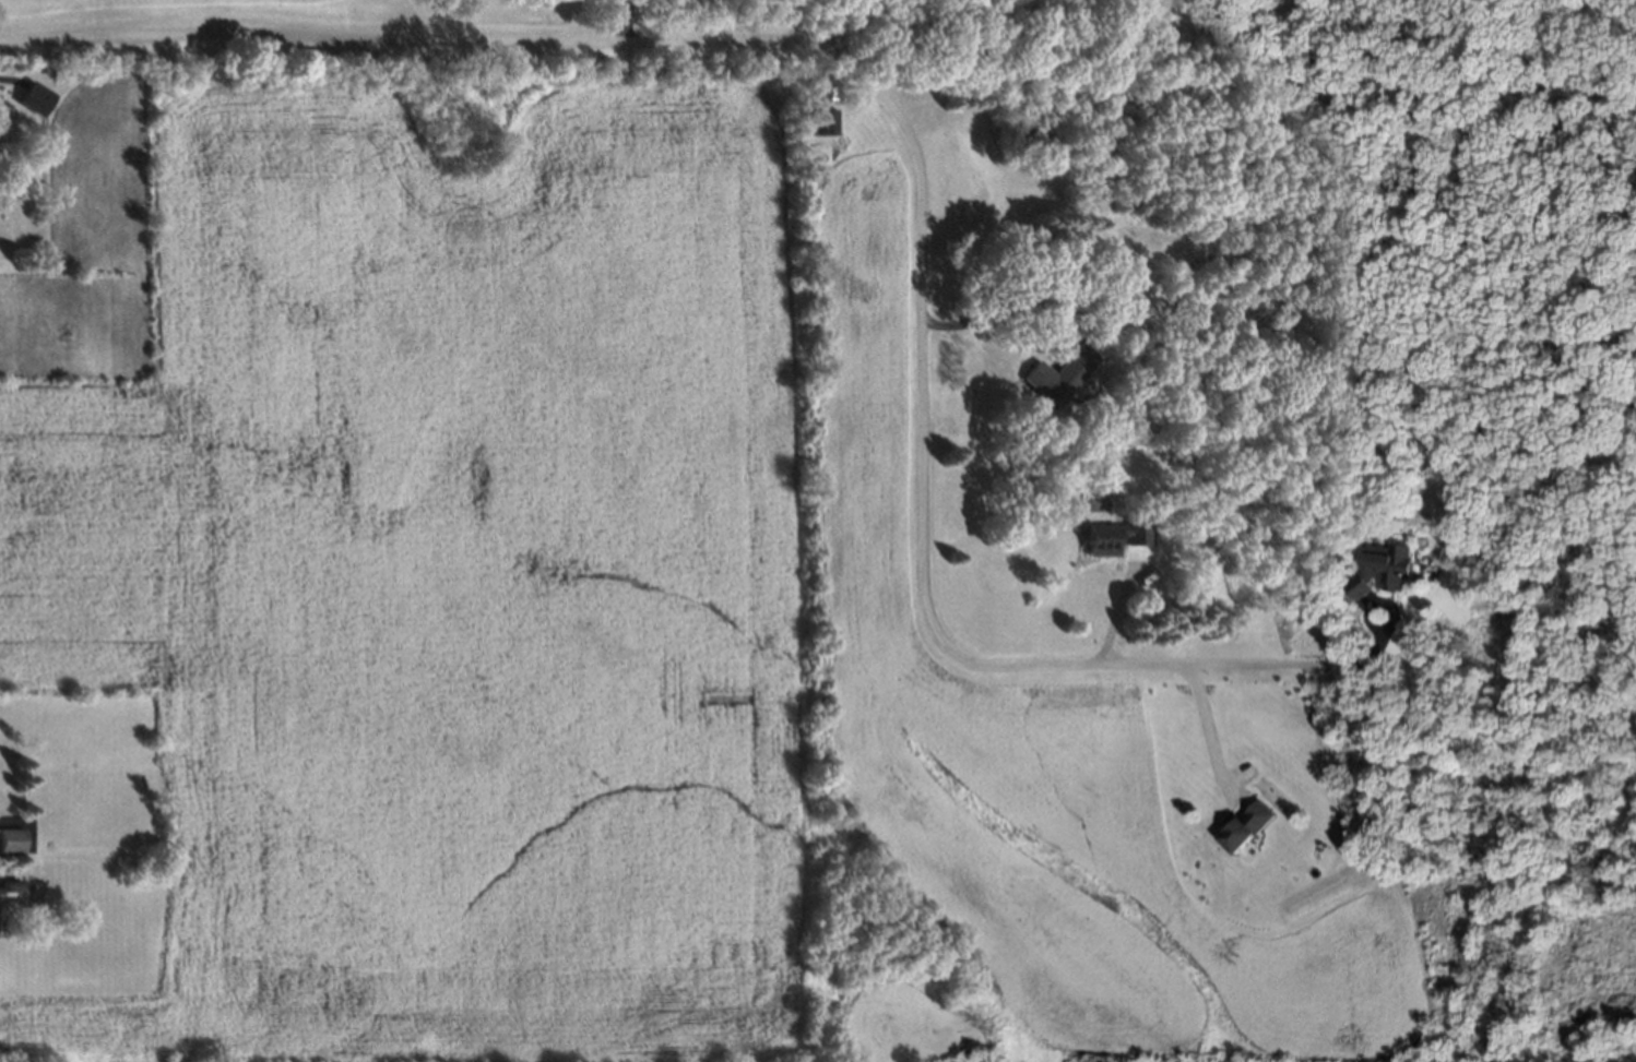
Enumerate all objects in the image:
building: (31, 97)
building: (821, 120)
road: (904, 127)
building: (1126, 311)
road: (989, 312)
building: (1054, 375)
building: (1095, 540)
building: (1378, 566)
road: (1113, 614)
road: (1202, 725)
building: (1246, 823)
building: (10, 840)
building: (8, 885)

